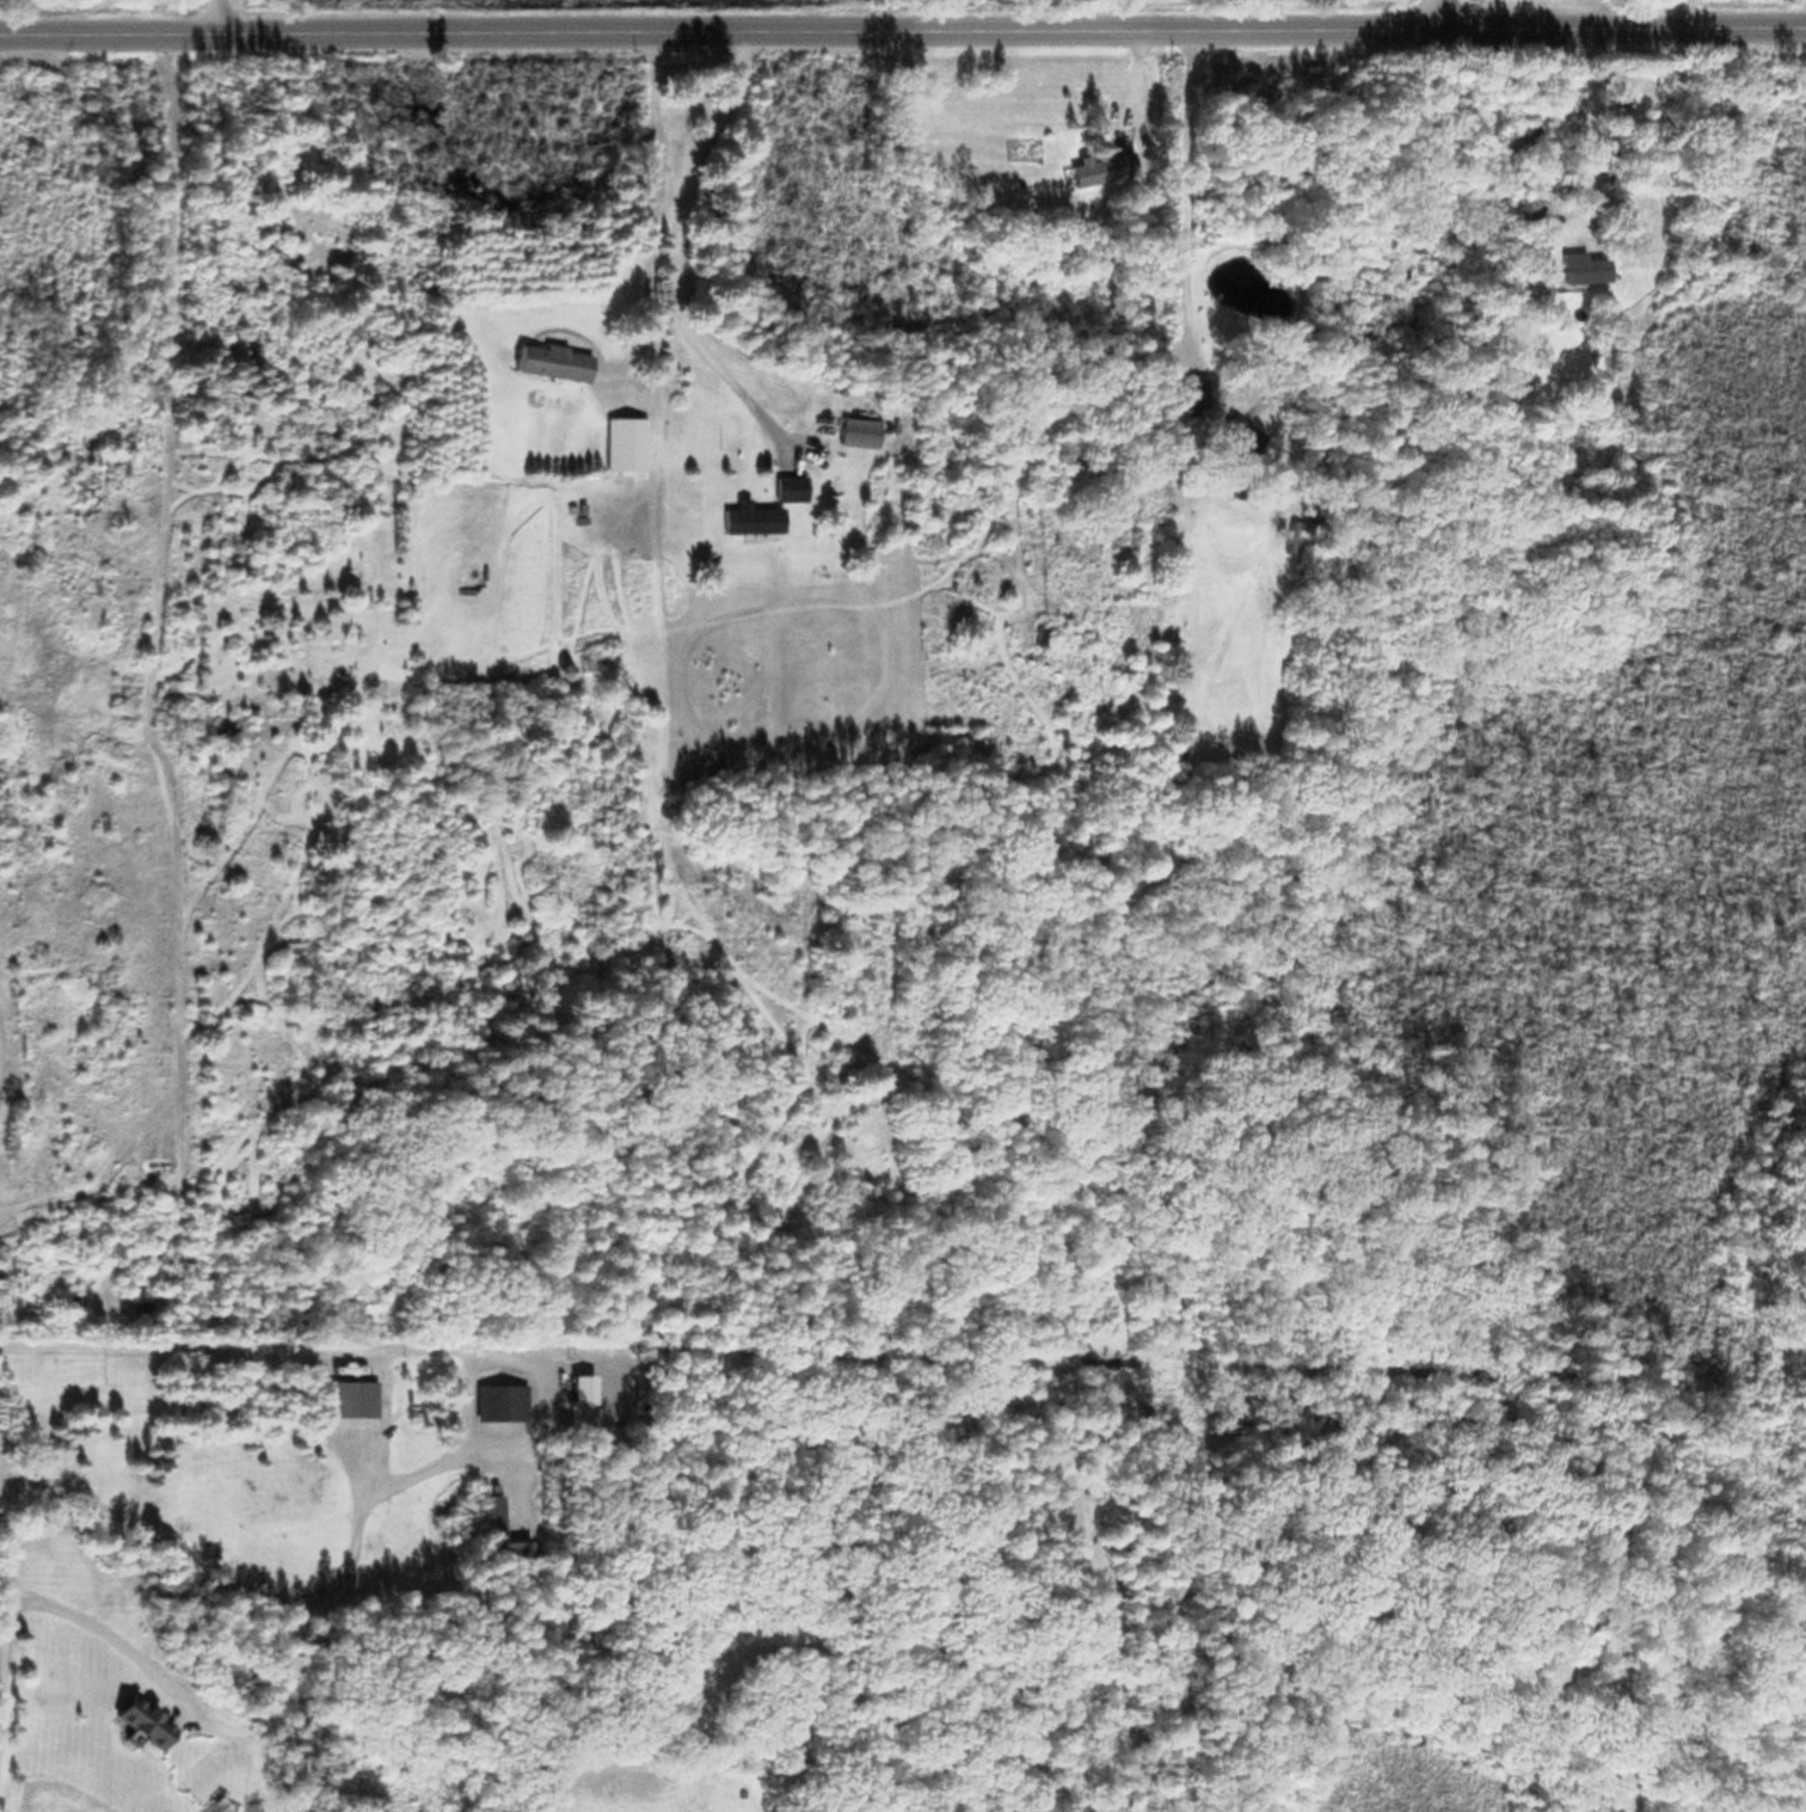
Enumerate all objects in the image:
road: (1679, 11)
road: (1432, 13)
road: (219, 17)
road: (903, 29)
building: (1098, 166)
building: (1524, 229)
building: (1575, 268)
building: (548, 360)
building: (1186, 395)
building: (853, 430)
building: (1234, 432)
building: (622, 442)
building: (786, 486)
building: (743, 518)
building: (1038, 634)
building: (149, 1304)
building: (349, 1396)
building: (496, 1400)
building: (497, 1529)
road: (13, 1652)
building: (136, 1721)

